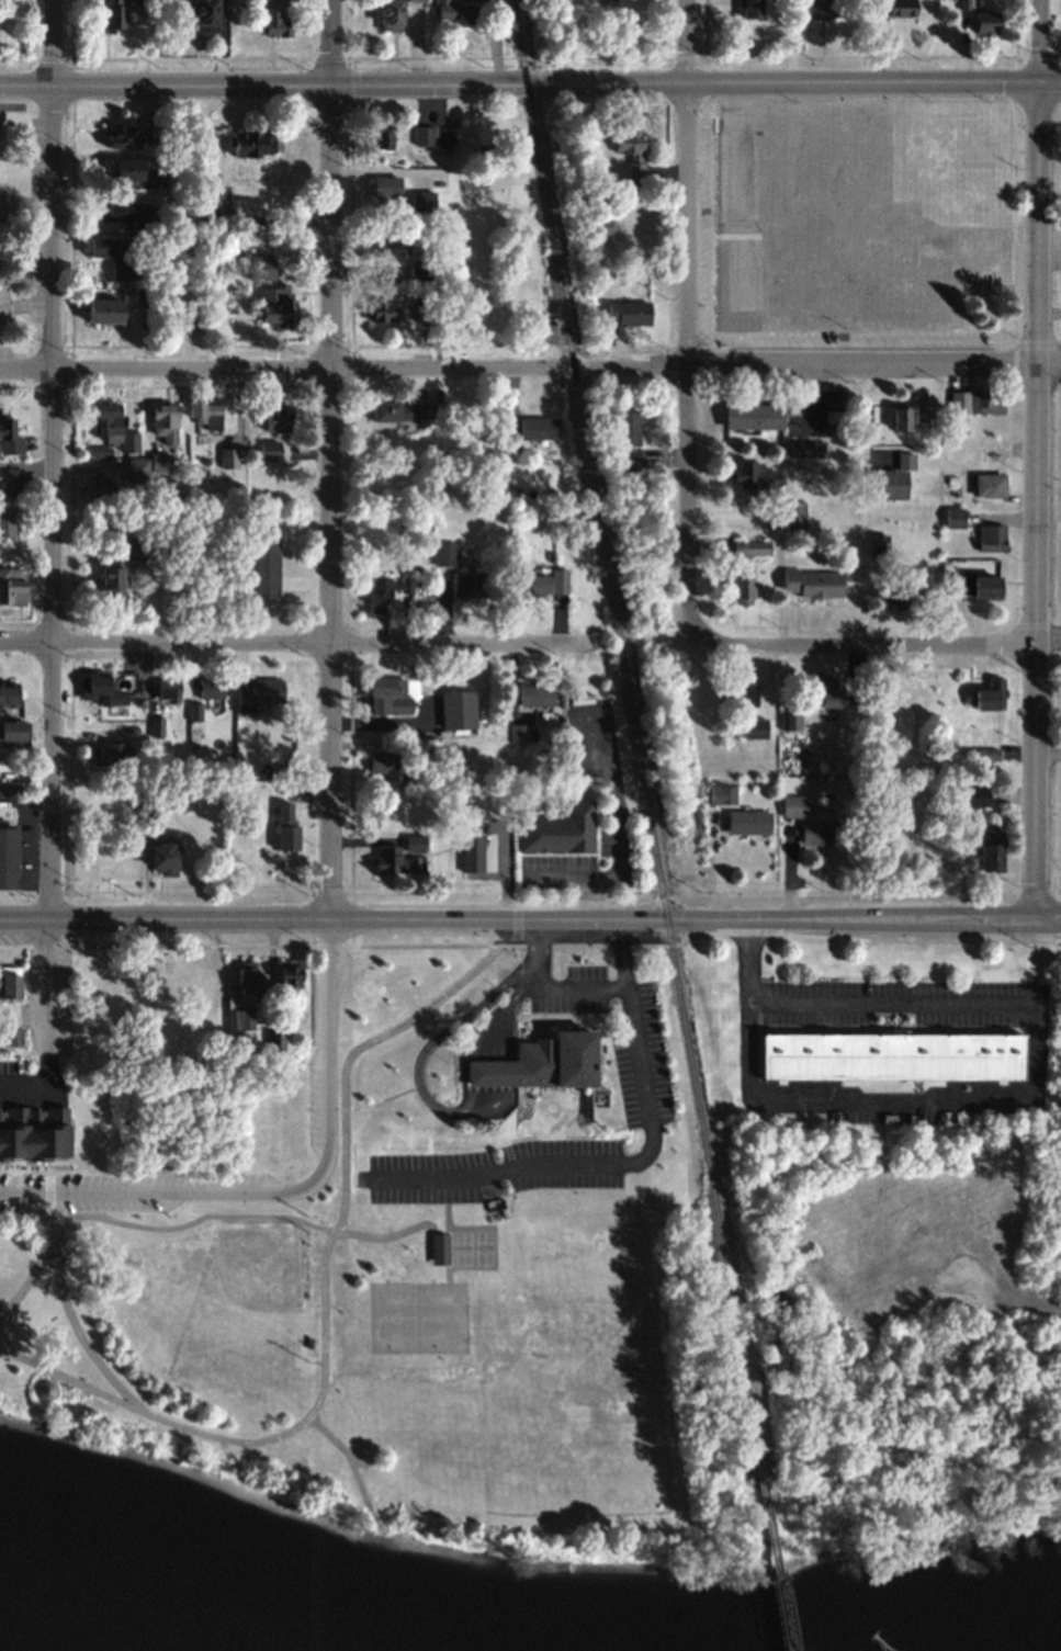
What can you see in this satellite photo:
building: (278, 0)
building: (416, 0)
building: (144, 1)
building: (963, 3)
building: (820, 8)
building: (900, 8)
building: (625, 9)
building: (752, 9)
building: (458, 12)
building: (113, 13)
building: (202, 15)
building: (393, 15)
building: (986, 22)
building: (272, 24)
road: (16, 57)
road: (530, 80)
building: (425, 132)
building: (383, 133)
building: (123, 136)
building: (148, 136)
building: (252, 140)
building: (632, 151)
building: (173, 160)
building: (132, 172)
building: (795, 180)
building: (383, 184)
building: (126, 211)
parking lot: (38, 217)
park: (24, 224)
building: (601, 226)
building: (385, 244)
building: (106, 245)
building: (261, 265)
building: (125, 268)
building: (420, 269)
building: (142, 294)
building: (278, 303)
building: (422, 307)
building: (104, 308)
building: (381, 308)
building: (629, 314)
road: (684, 317)
building: (188, 319)
parking lot: (3, 354)
road: (1047, 363)
road: (516, 364)
road: (15, 385)
building: (986, 400)
building: (206, 408)
building: (405, 409)
building: (921, 410)
building: (754, 414)
building: (278, 416)
building: (901, 417)
building: (105, 418)
building: (165, 420)
building: (629, 425)
building: (540, 427)
building: (9, 436)
building: (129, 440)
building: (805, 446)
building: (270, 449)
building: (993, 452)
building: (229, 456)
road: (1032, 457)
road: (49, 459)
road: (327, 459)
building: (628, 459)
building: (160, 461)
building: (137, 468)
building: (754, 473)
building: (892, 477)
building: (11, 480)
building: (990, 483)
building: (98, 486)
road: (864, 502)
building: (794, 513)
building: (953, 516)
building: (8, 520)
building: (992, 535)
building: (878, 542)
building: (752, 547)
building: (121, 550)
building: (444, 551)
building: (266, 562)
building: (111, 579)
building: (542, 581)
building: (813, 581)
building: (469, 583)
building: (979, 584)
building: (12, 585)
building: (743, 588)
building: (379, 592)
building: (900, 593)
road: (1058, 614)
road: (18, 619)
road: (1047, 634)
road: (295, 640)
road: (866, 642)
building: (169, 685)
building: (211, 685)
building: (853, 687)
building: (99, 688)
building: (258, 689)
building: (824, 690)
building: (8, 693)
building: (388, 693)
building: (535, 693)
building: (741, 693)
building: (991, 693)
building: (458, 709)
building: (791, 720)
railway: (632, 724)
building: (156, 725)
building: (756, 725)
building: (12, 731)
road: (1047, 746)
building: (111, 753)
building: (982, 753)
building: (392, 760)
building: (113, 790)
building: (723, 792)
building: (795, 803)
building: (150, 815)
building: (749, 819)
building: (285, 823)
building: (561, 829)
building: (822, 830)
building: (471, 846)
building: (992, 846)
building: (8, 855)
building: (163, 855)
building: (393, 858)
road: (16, 891)
road: (793, 897)
parking lot: (9, 904)
road: (530, 916)
road: (518, 921)
road: (787, 931)
street lamp: (63, 941)
road: (508, 942)
road: (418, 943)
road: (543, 946)
road: (526, 947)
building: (246, 977)
building: (197, 981)
building: (290, 981)
building: (11, 984)
road: (628, 1009)
building: (214, 1020)
building: (240, 1021)
road: (47, 1026)
building: (13, 1039)
building: (274, 1044)
road: (461, 1049)
road: (508, 1056)
building: (893, 1058)
road: (495, 1059)
building: (544, 1061)
road: (486, 1063)
road: (478, 1068)
road: (471, 1073)
road: (989, 1100)
road: (439, 1106)
building: (34, 1133)
road: (646, 1149)
road: (499, 1171)
parking lot: (63, 1189)
road: (291, 1189)
road: (33, 1217)
road: (138, 1223)
road: (39, 1228)
park: (473, 1245)
building: (437, 1246)
road: (27, 1277)
road: (1000, 1289)
road: (329, 1312)
park: (416, 1315)
road: (925, 1334)
park: (393, 1337)
railway: (775, 1549)
river: (174, 1590)

